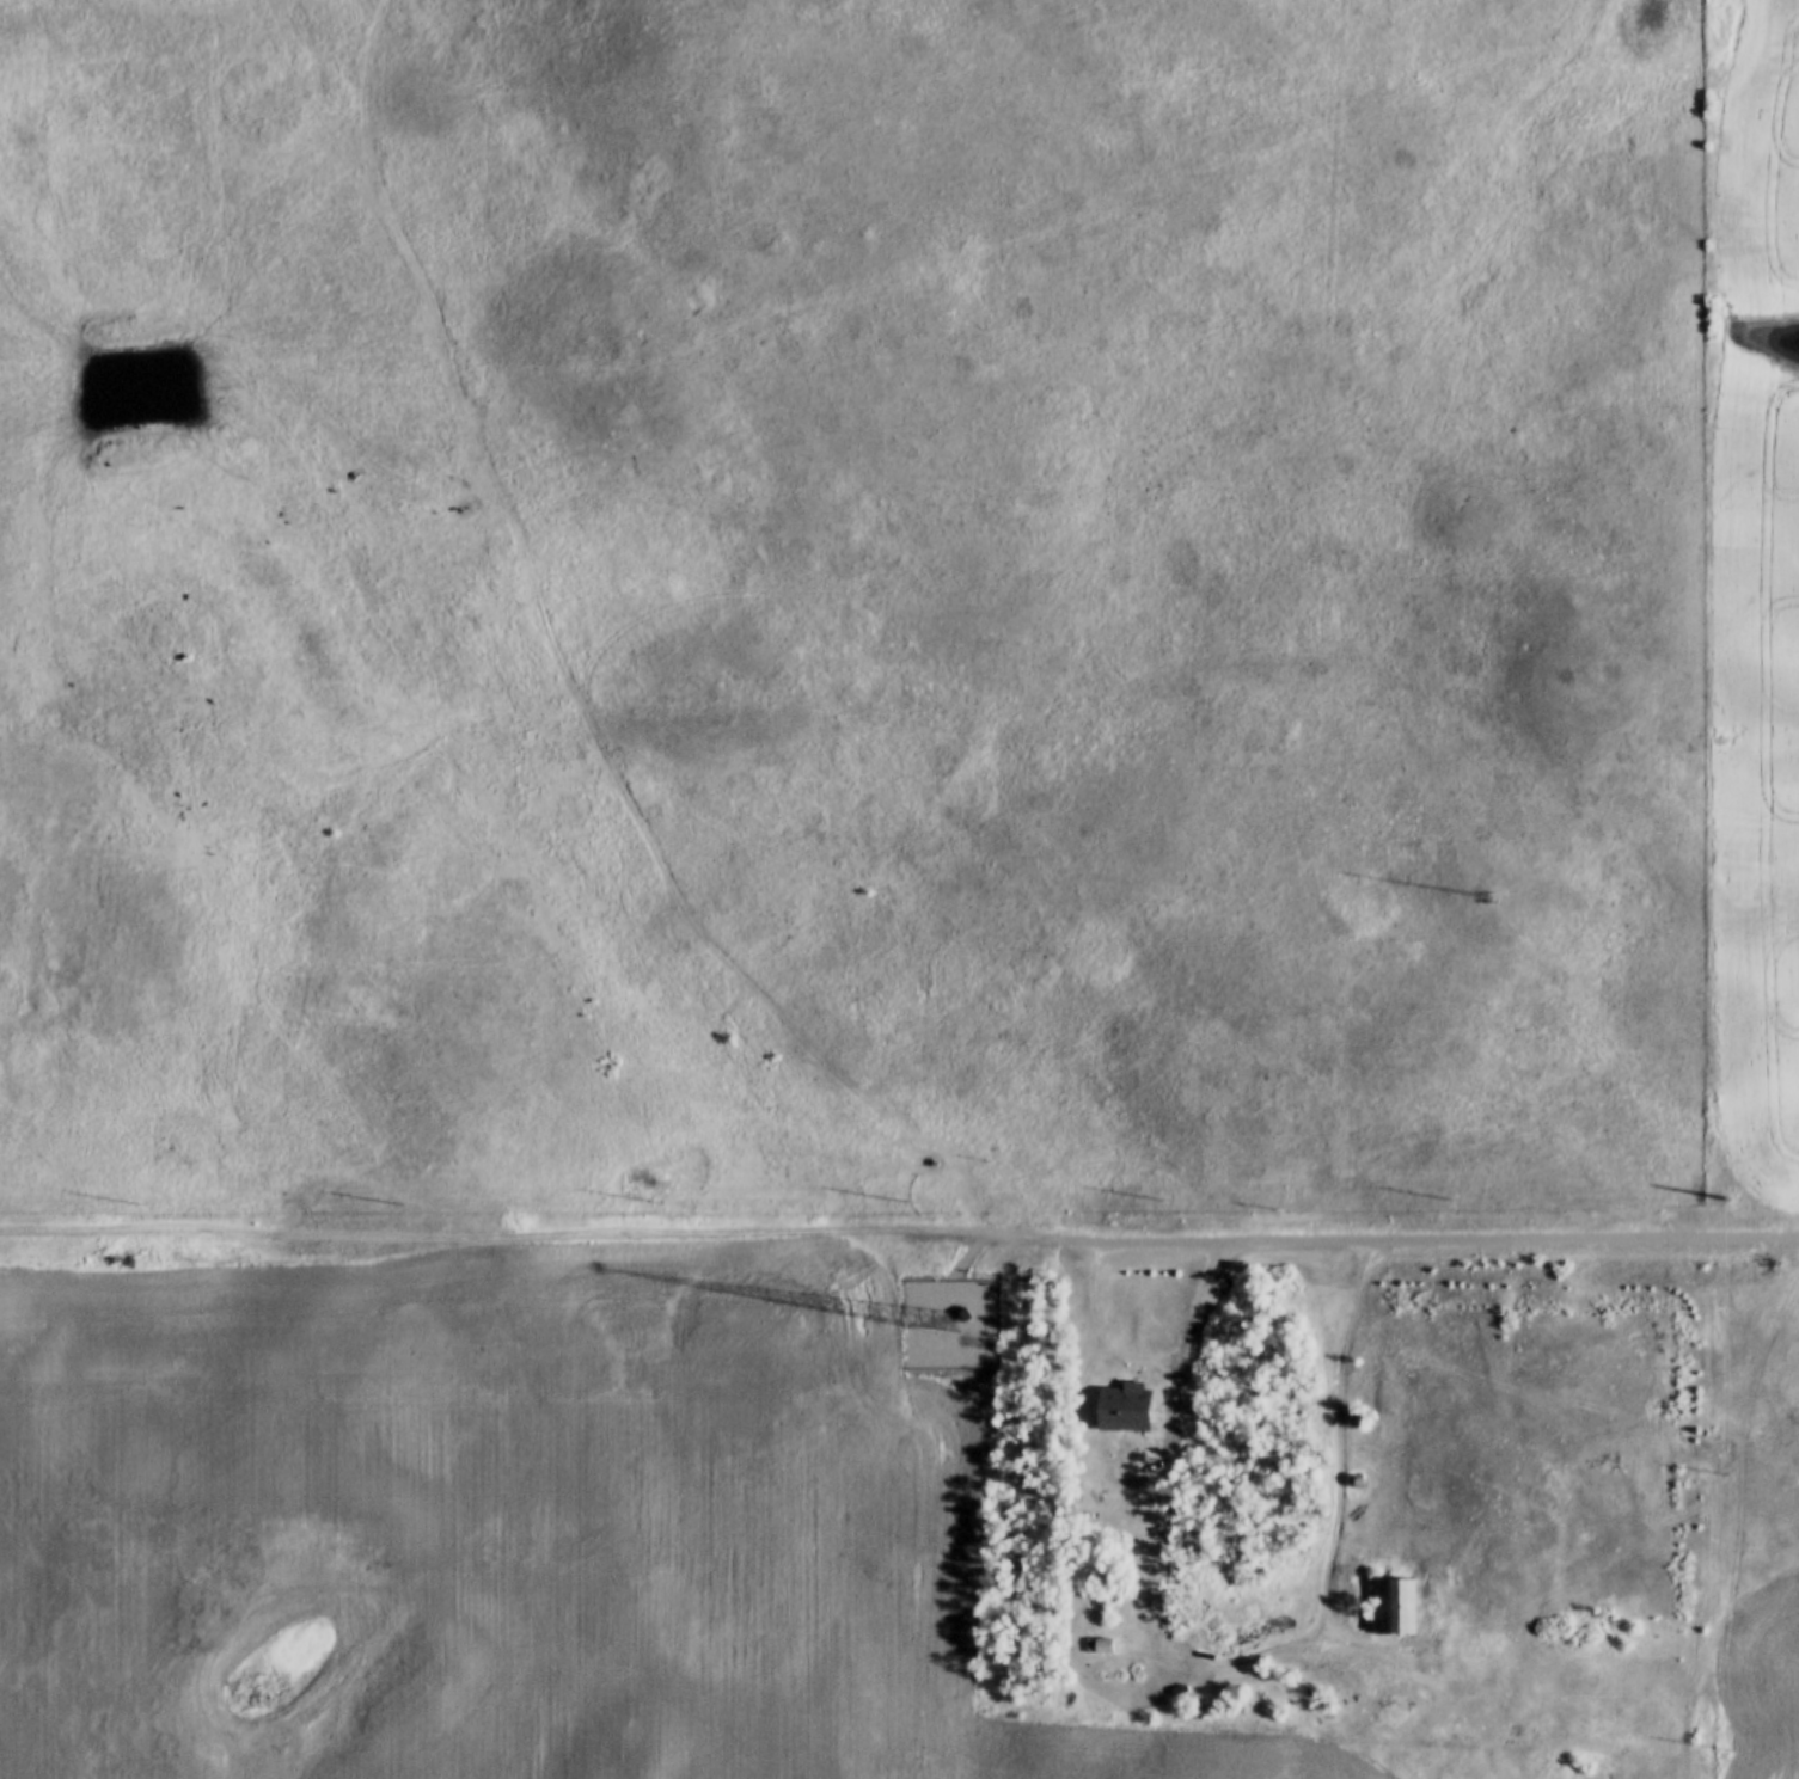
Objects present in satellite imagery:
road: (547, 1238)
road: (1446, 1239)
building: (961, 1315)
road: (1156, 1362)
building: (1124, 1409)
road: (1161, 1602)
building: (1394, 1606)

